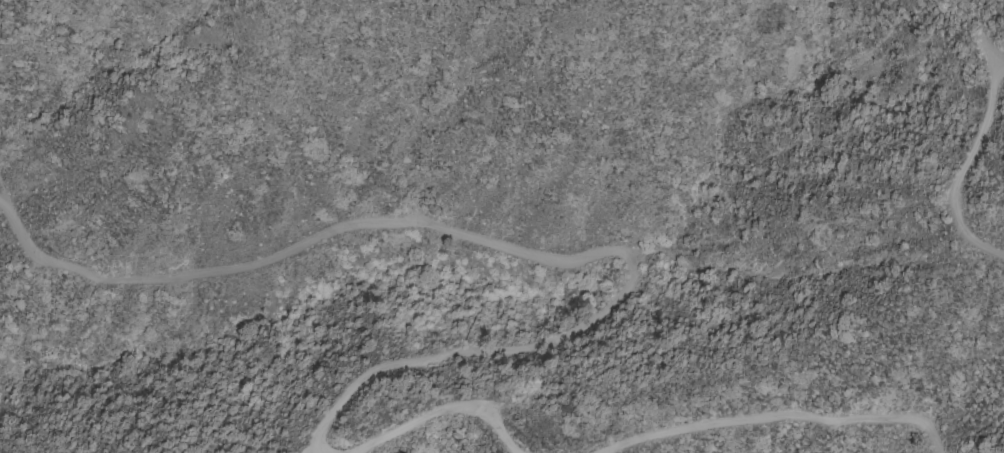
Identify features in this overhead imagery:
road: (965, 169)
road: (503, 247)
road: (447, 409)
road: (781, 418)

